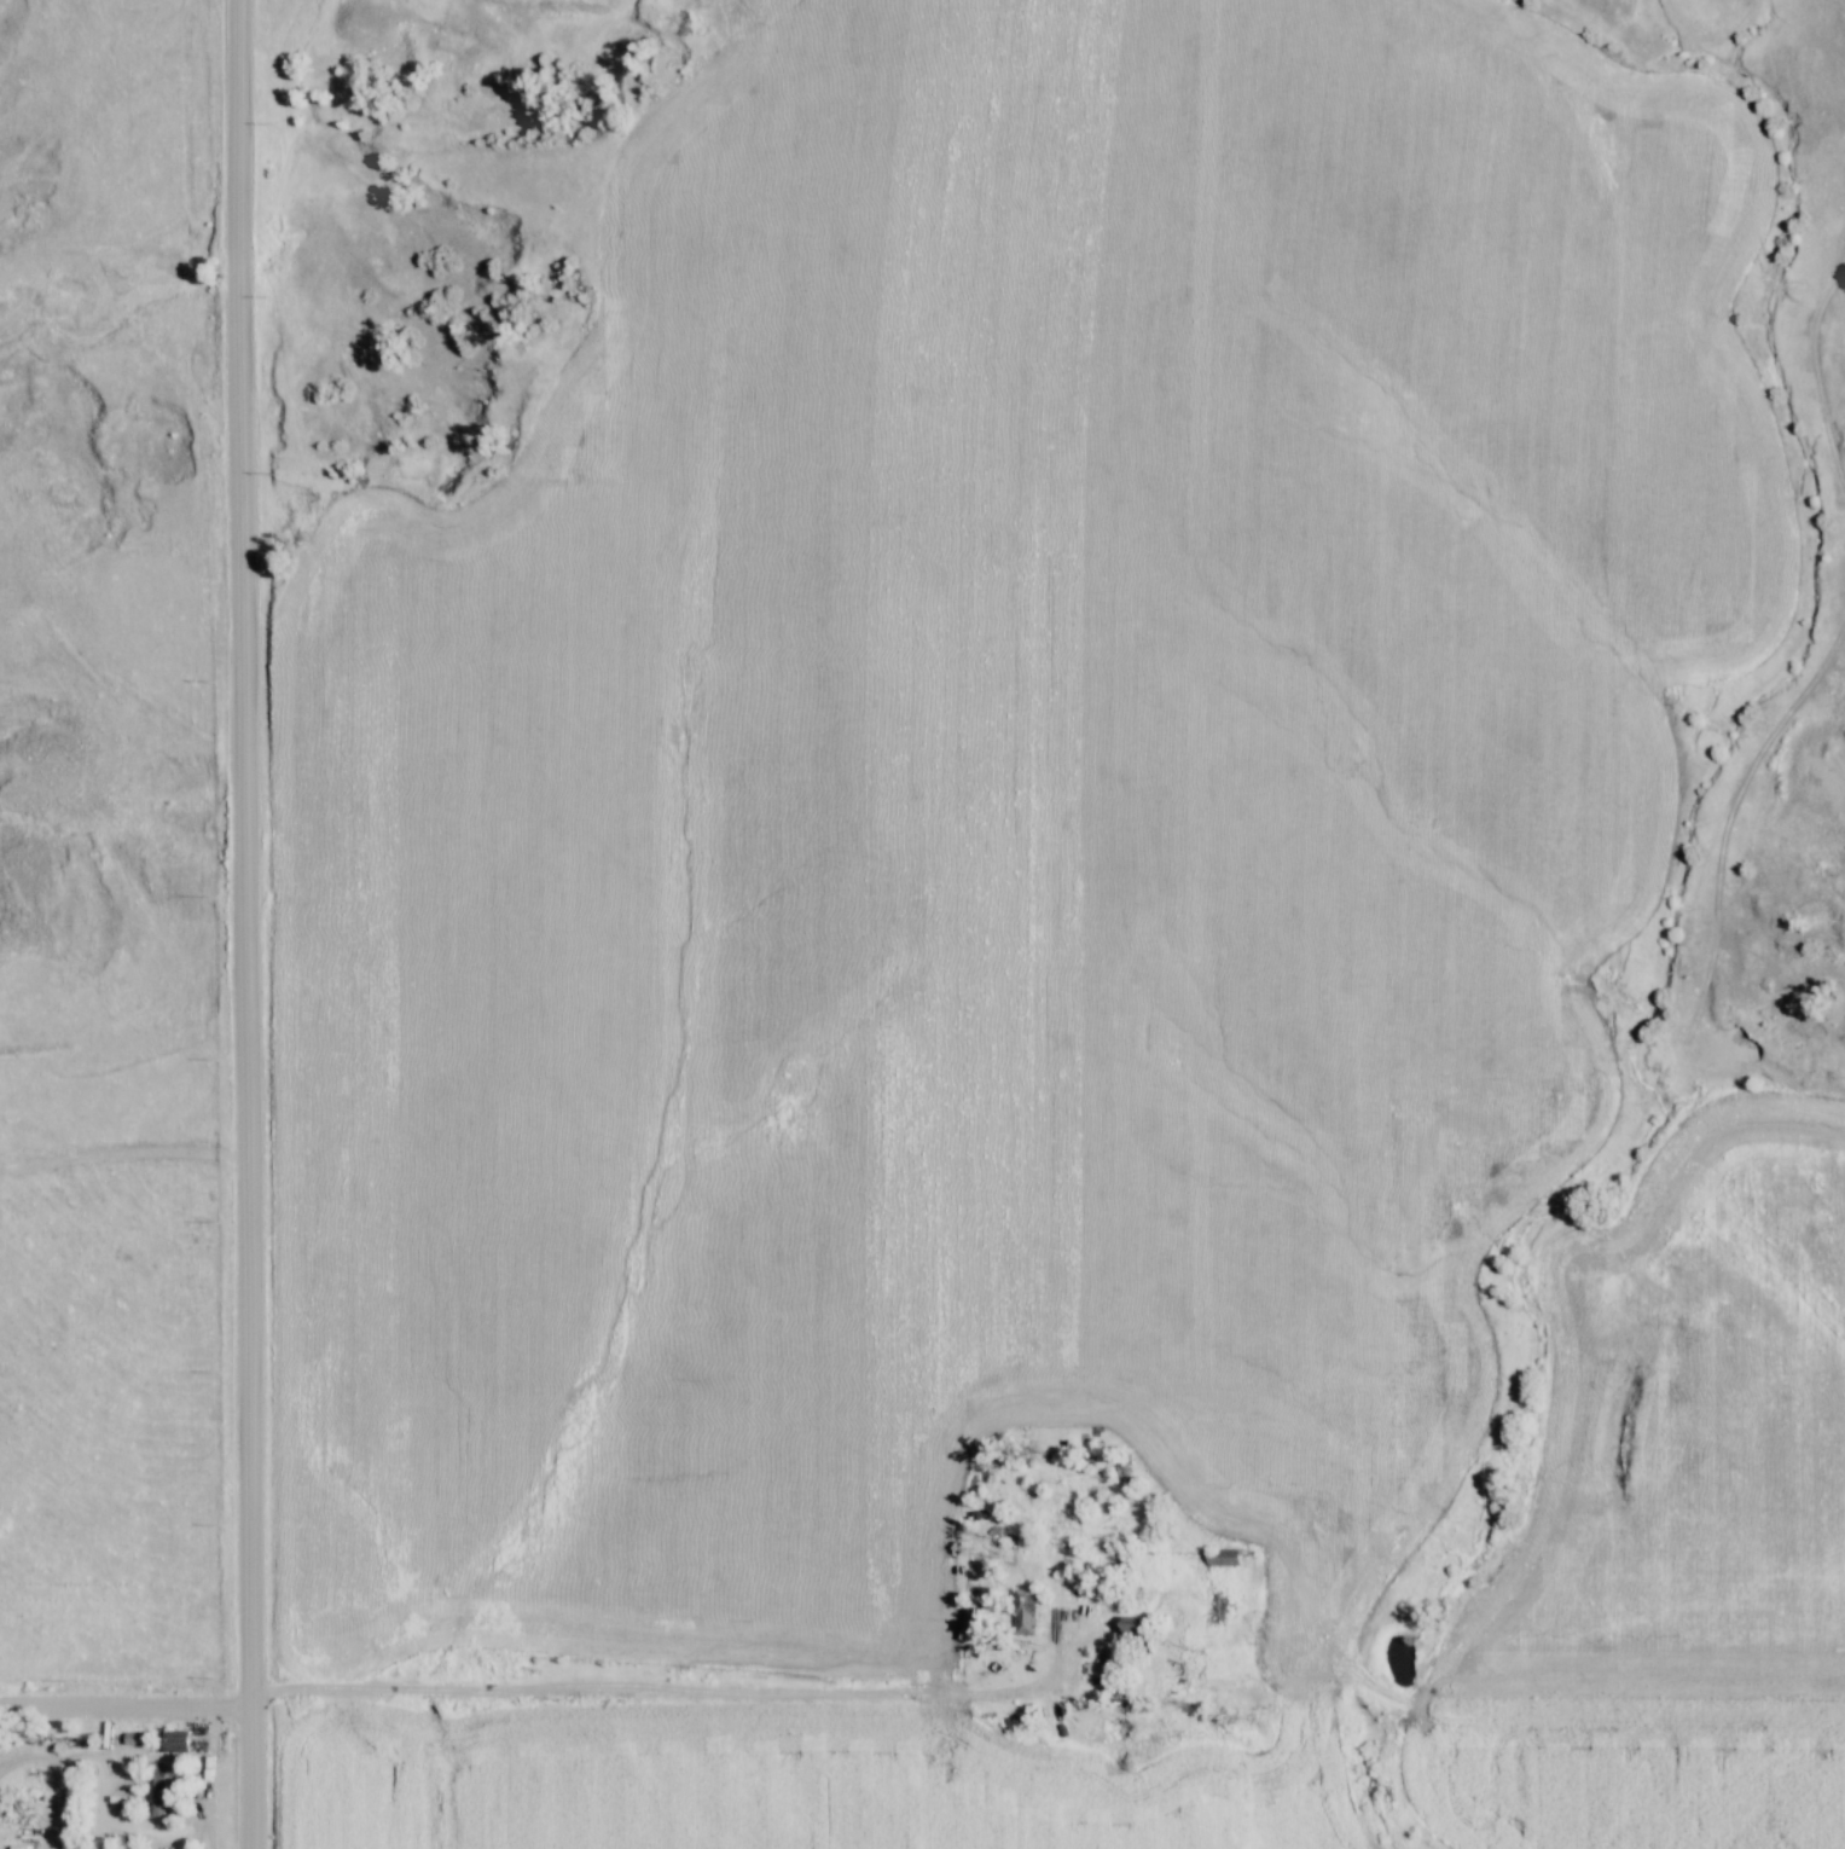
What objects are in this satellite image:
road: (248, 923)
building: (1218, 1555)
building: (1020, 1611)
building: (1129, 1627)
road: (690, 1692)
road: (124, 1705)
building: (138, 1738)
building: (179, 1740)
building: (159, 1789)

